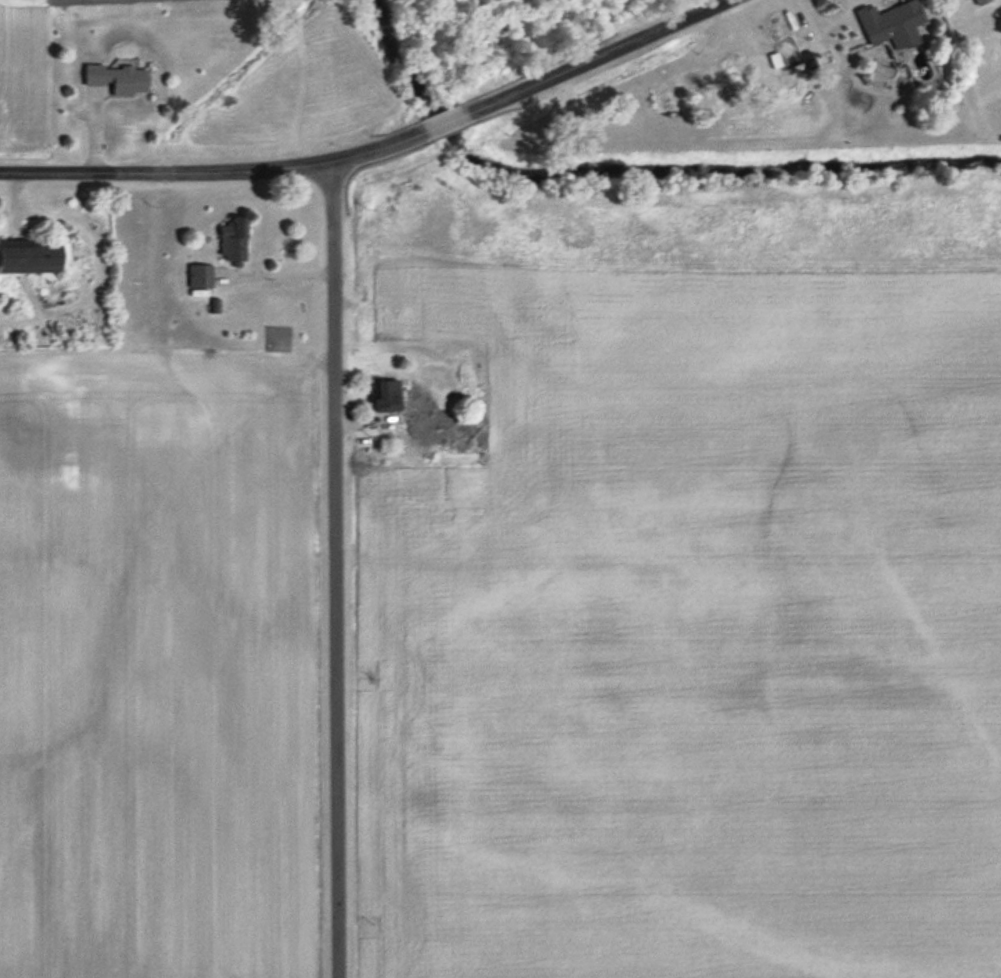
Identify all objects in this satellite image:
building: (978, 1)
building: (890, 23)
road: (594, 54)
building: (115, 78)
road: (446, 120)
road: (214, 170)
building: (230, 240)
building: (27, 256)
road: (277, 275)
building: (198, 276)
building: (431, 389)
building: (384, 395)
building: (412, 418)
road: (334, 569)

